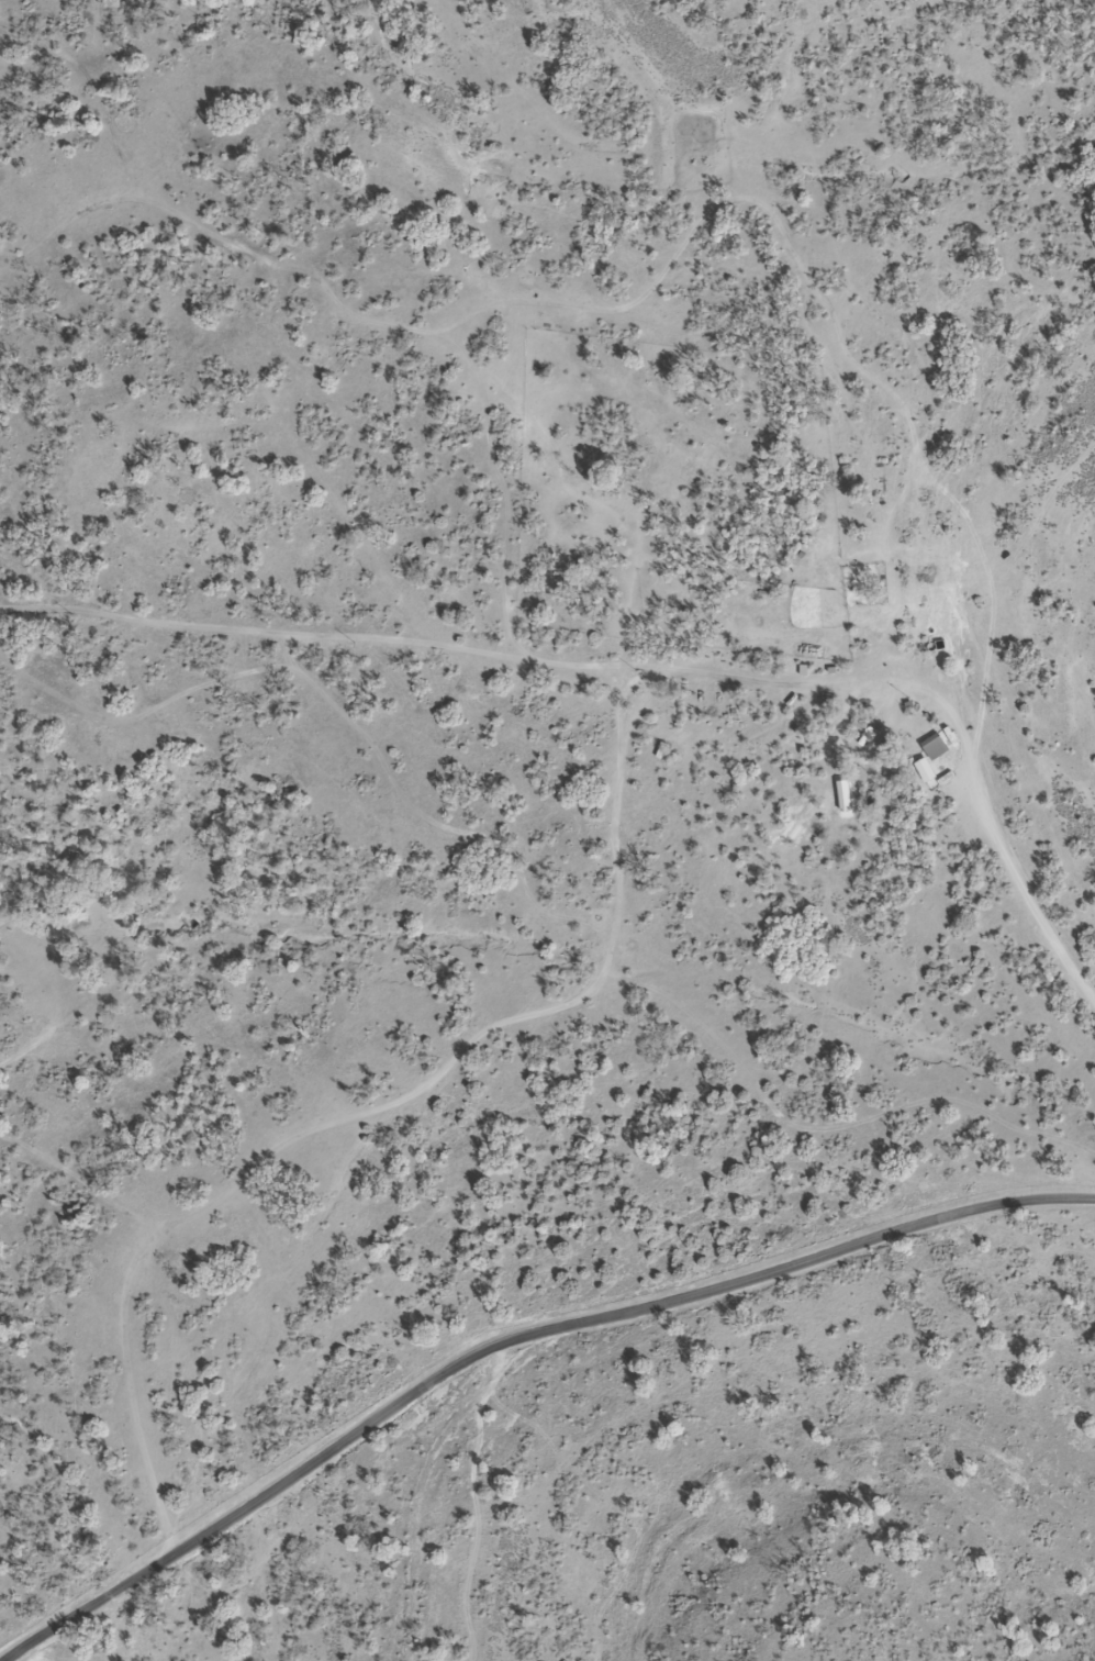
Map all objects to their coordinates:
building: (936, 748)
road: (640, 822)
road: (1017, 893)
road: (517, 1342)

